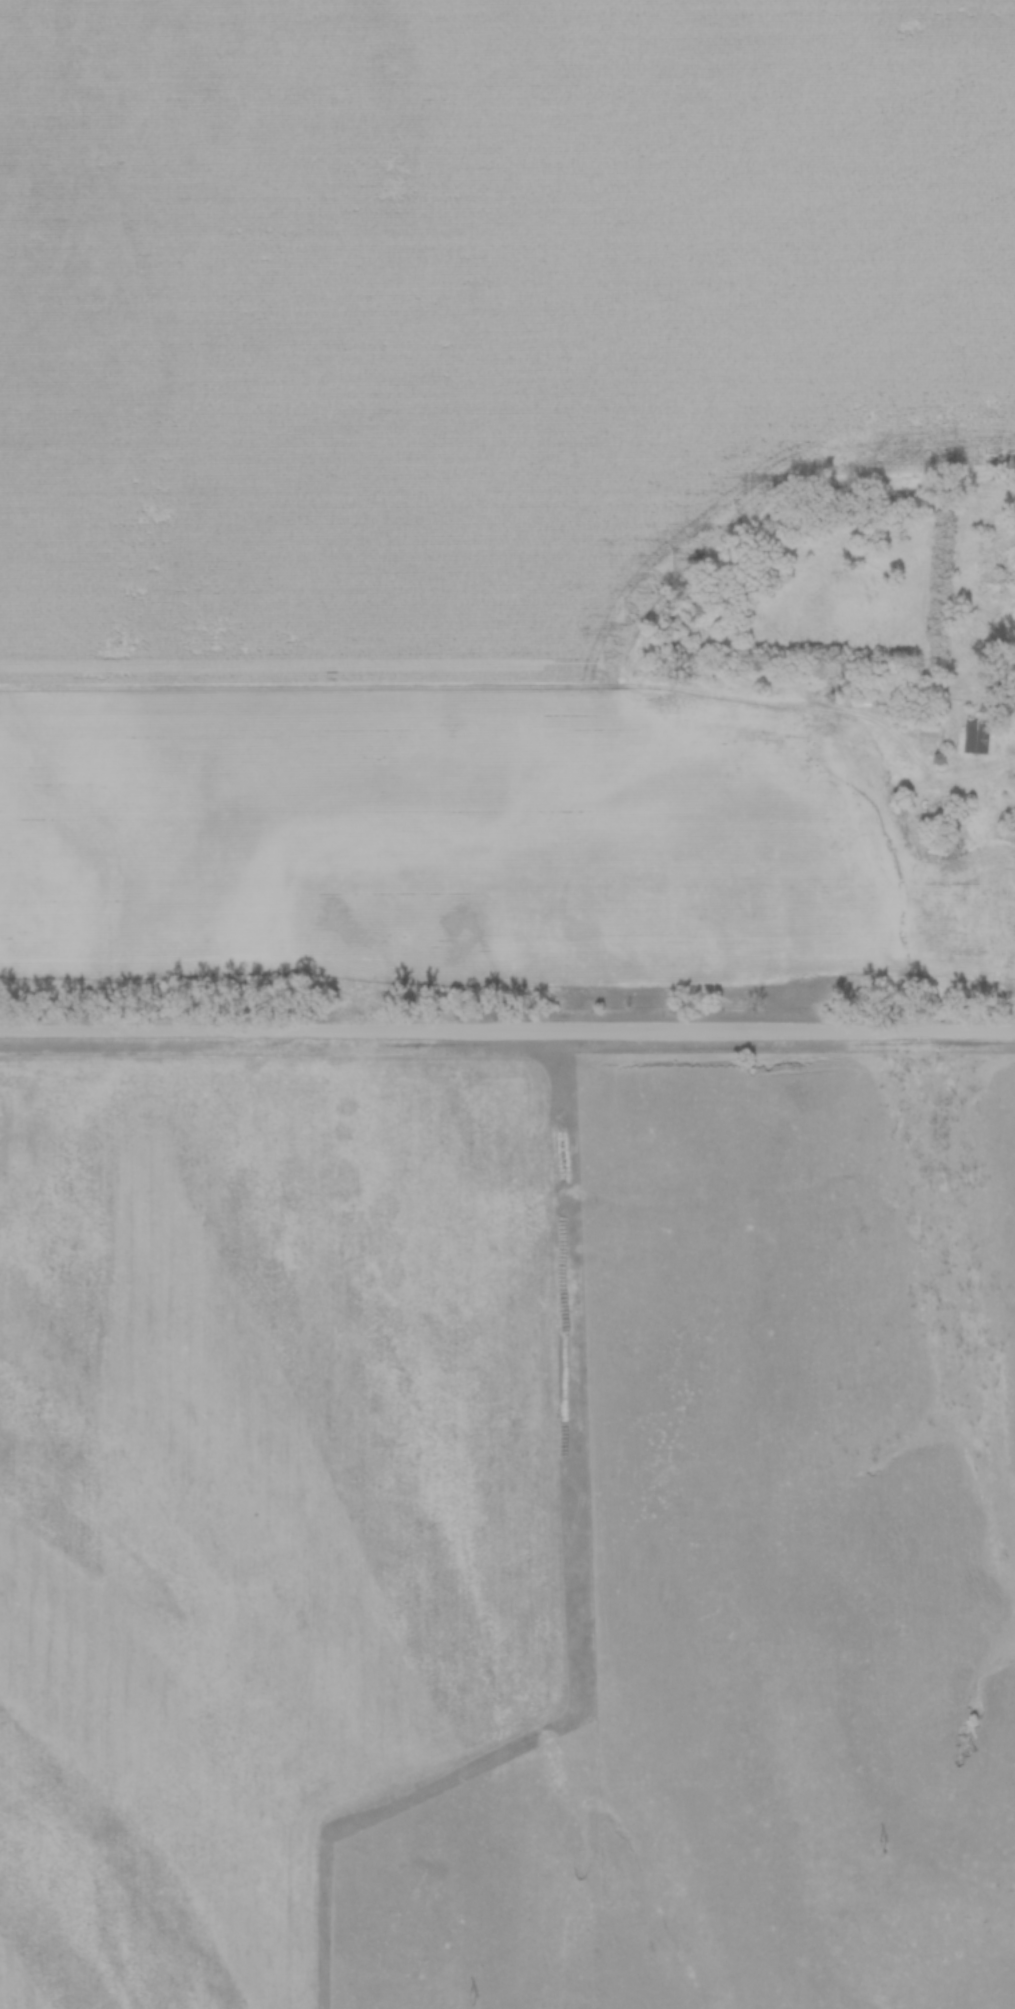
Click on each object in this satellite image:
building: (976, 735)
road: (507, 1032)
power tower: (882, 1845)
power tower: (476, 1999)

